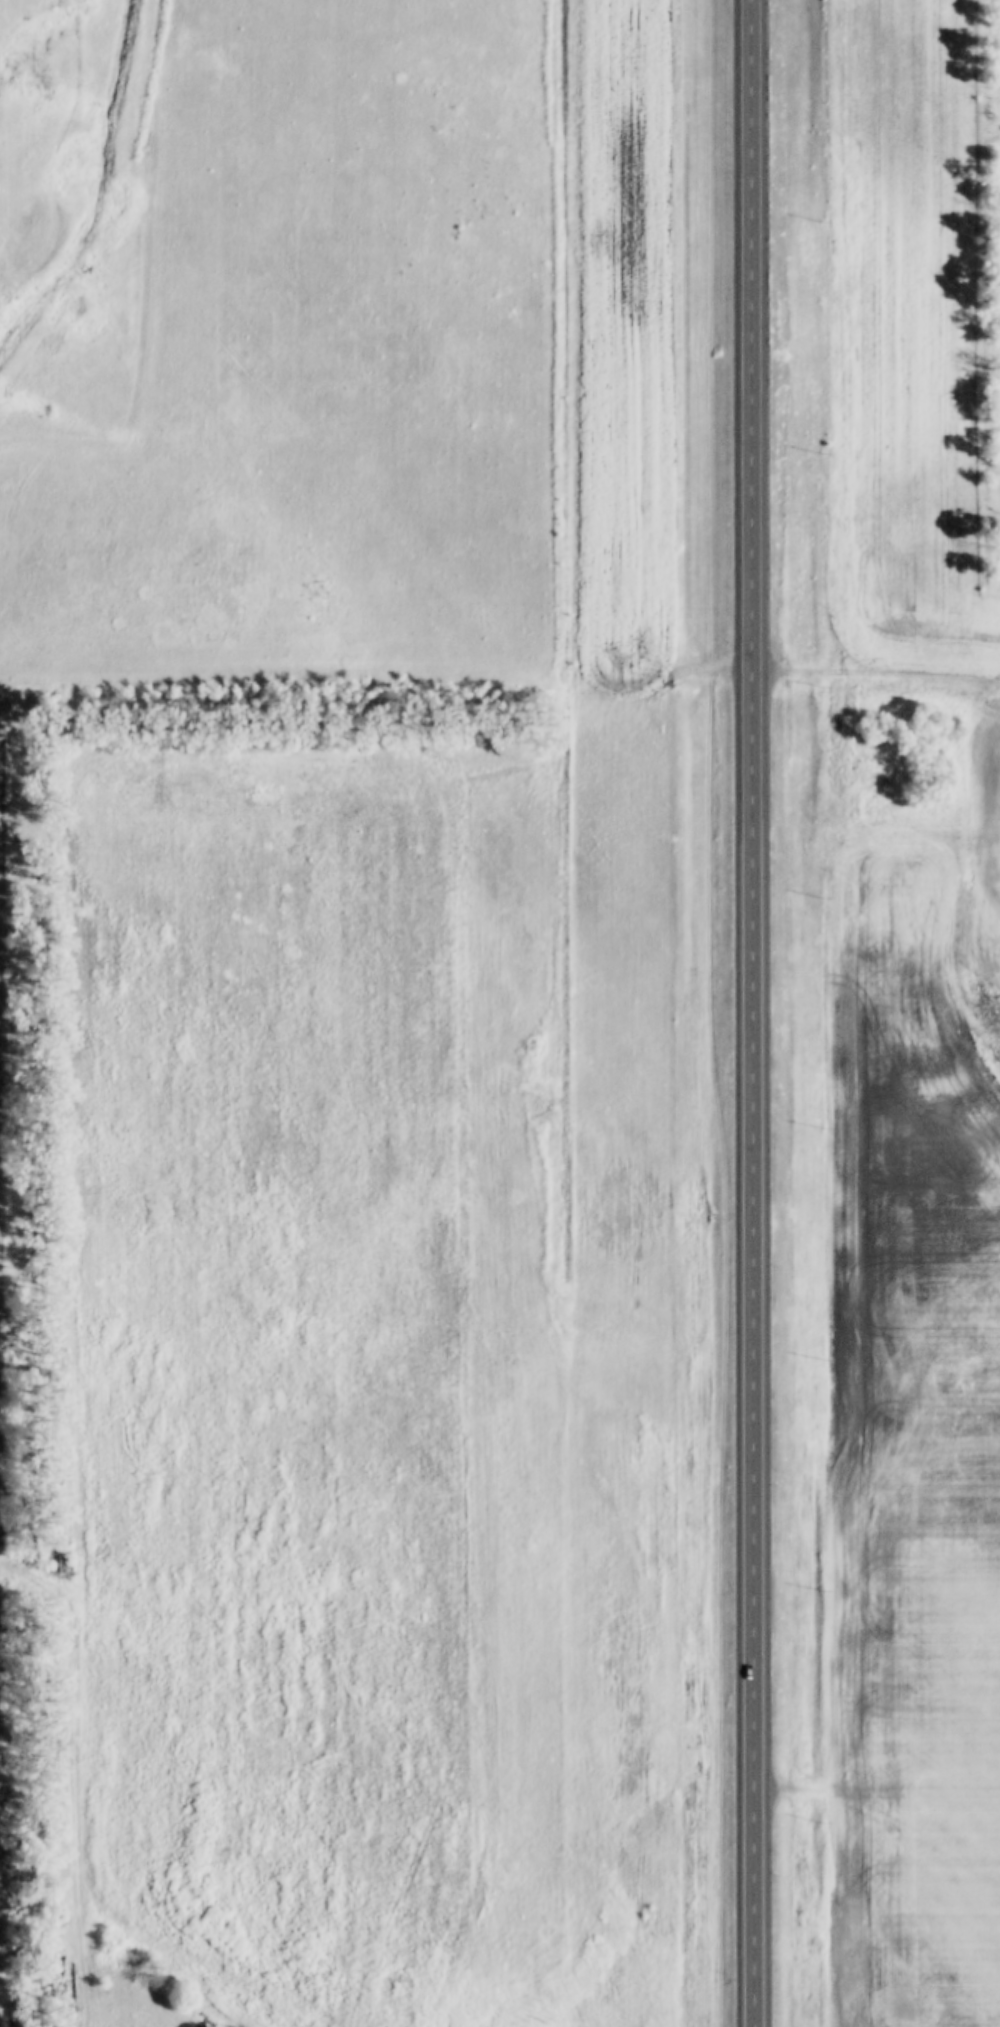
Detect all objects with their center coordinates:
road: (750, 1013)

